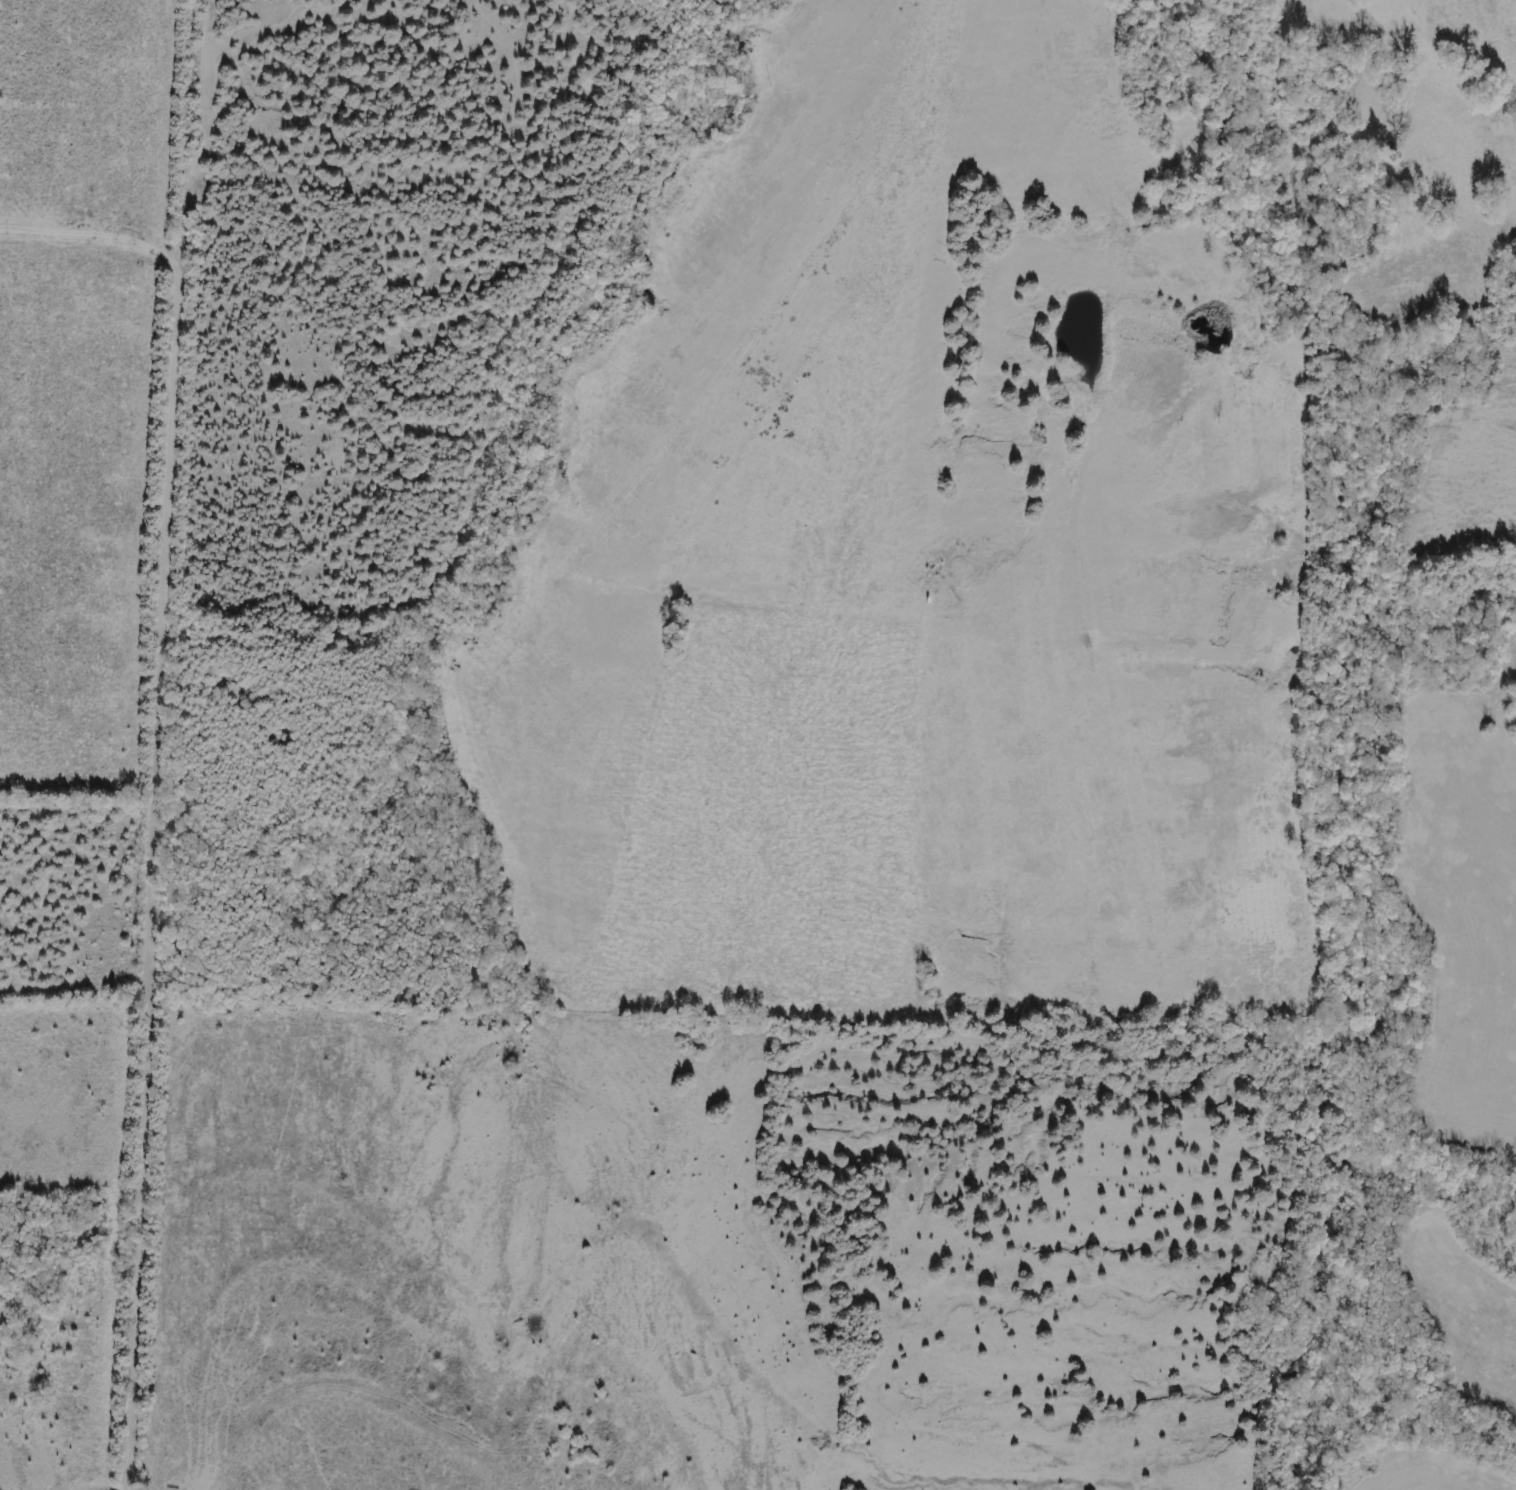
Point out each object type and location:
road: (214, 171)

